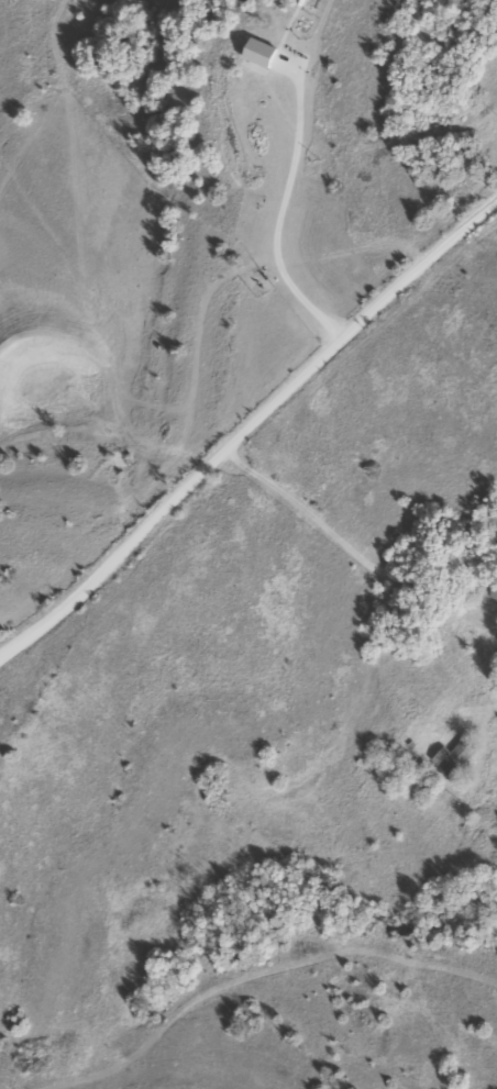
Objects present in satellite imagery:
road: (254, 424)
building: (453, 758)

